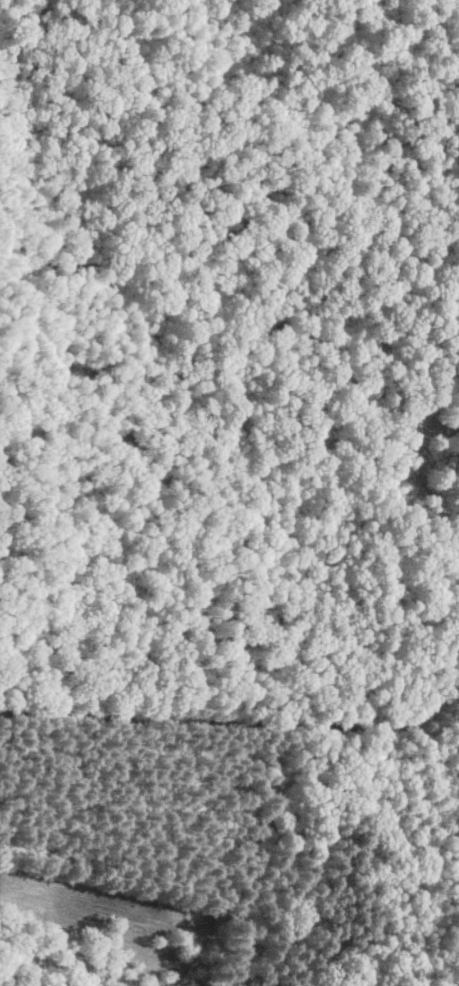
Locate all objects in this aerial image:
road: (235, 721)

